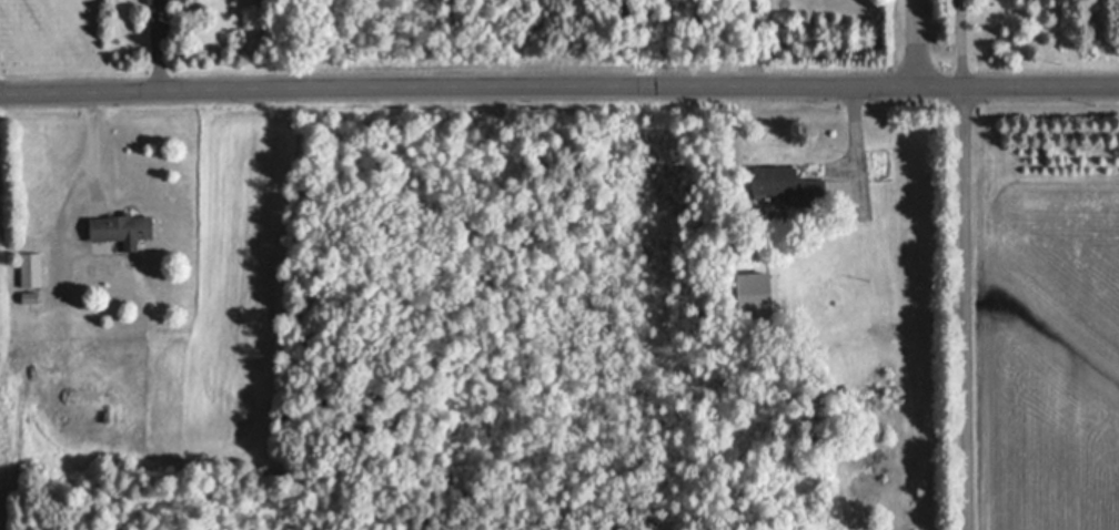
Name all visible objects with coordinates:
building: (159, 0)
road: (917, 43)
road: (558, 88)
building: (793, 182)
building: (123, 230)
road: (965, 265)
building: (33, 268)
building: (756, 289)
building: (32, 297)

